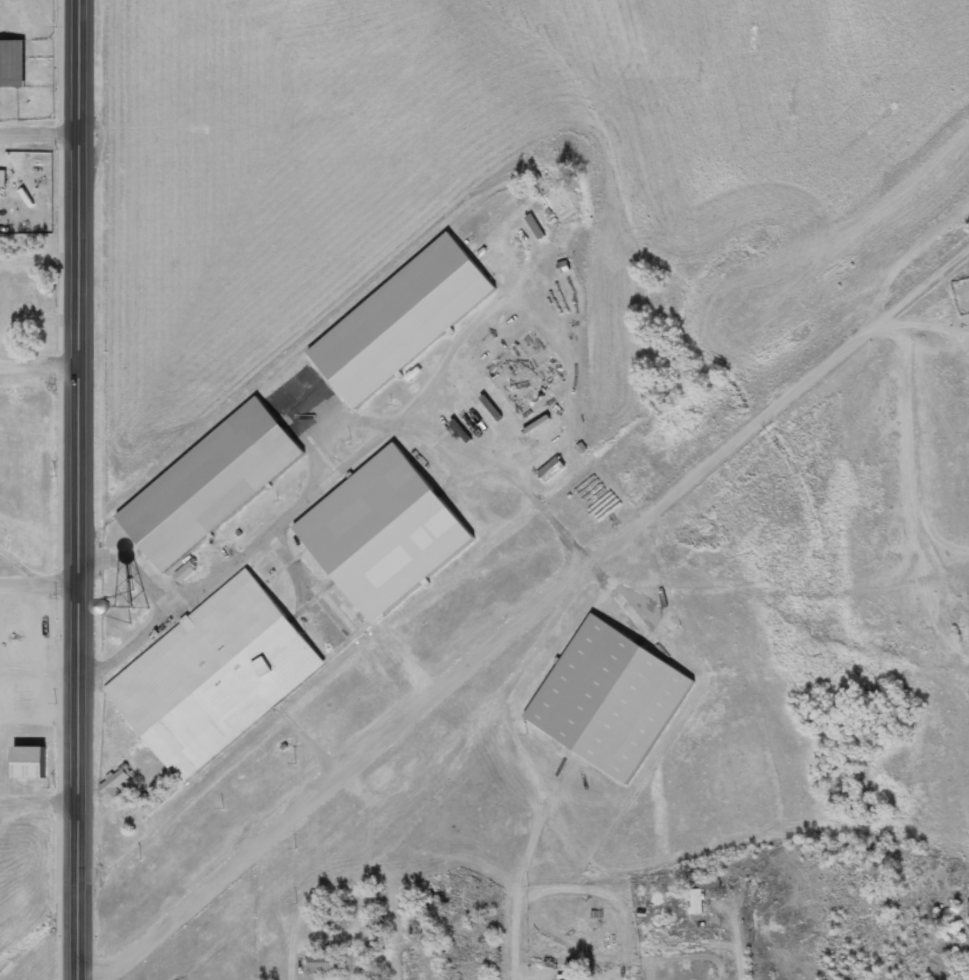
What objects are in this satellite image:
building: (12, 63)
road: (38, 135)
building: (3, 179)
railway: (926, 285)
building: (401, 320)
road: (38, 369)
road: (327, 482)
building: (210, 484)
road: (78, 489)
road: (532, 500)
building: (383, 533)
road: (138, 564)
building: (186, 572)
road: (39, 588)
water tower: (138, 603)
road: (473, 661)
building: (216, 676)
building: (611, 698)
building: (28, 763)
building: (114, 786)
road: (40, 802)
building: (697, 902)
road: (743, 938)
road: (521, 944)

